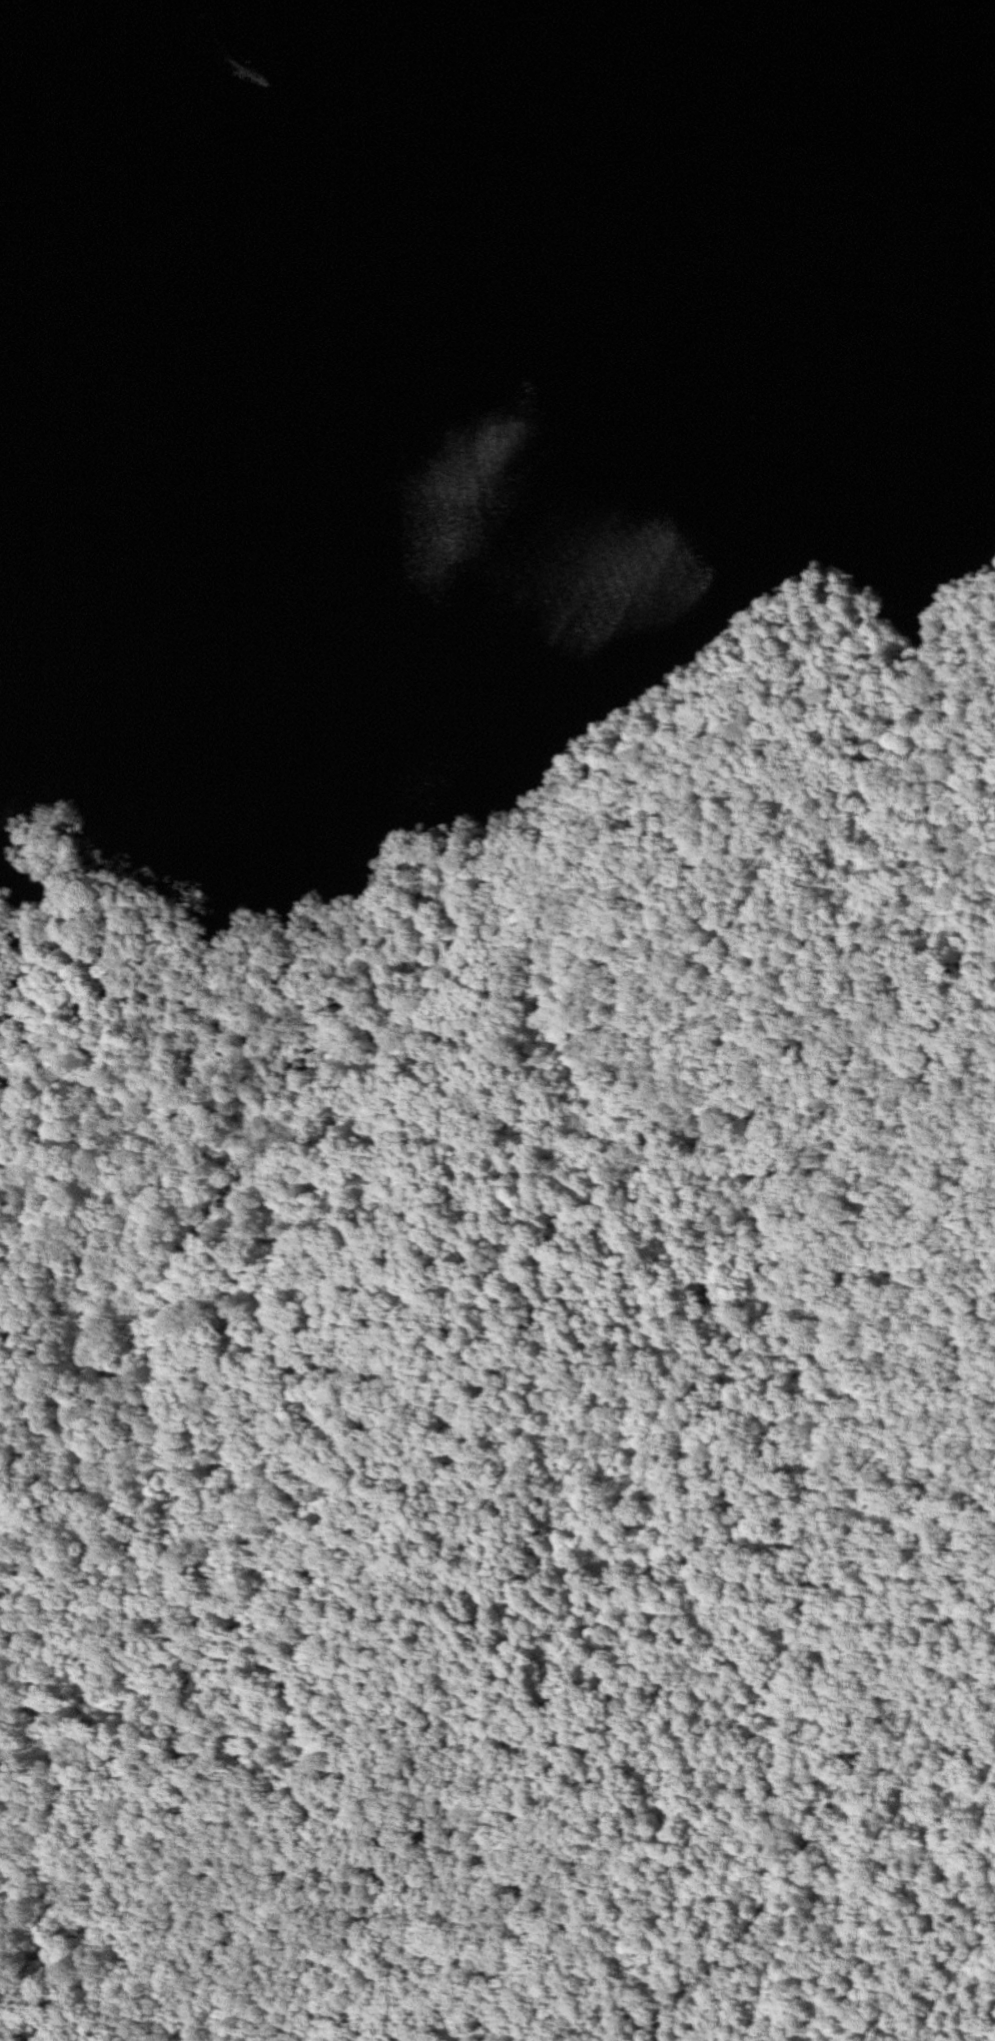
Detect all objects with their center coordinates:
road: (804, 1843)

